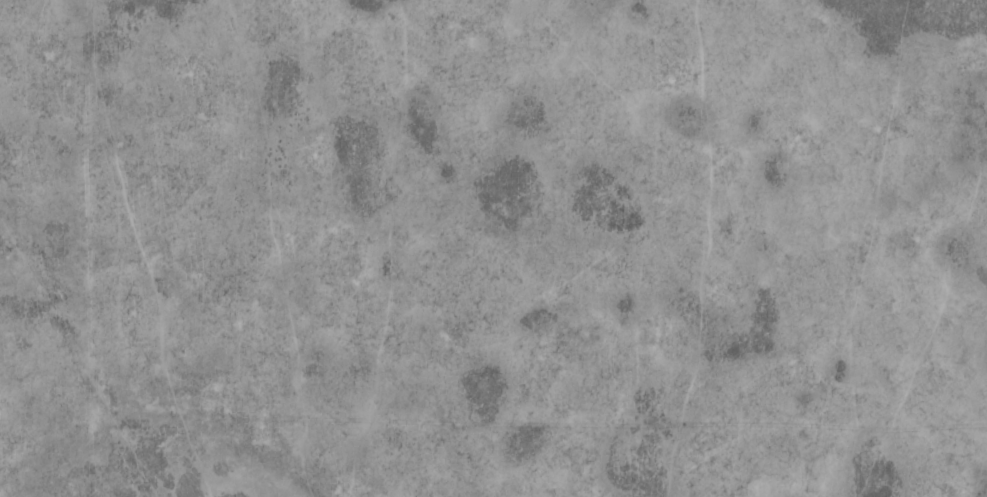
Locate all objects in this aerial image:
road: (103, 248)

